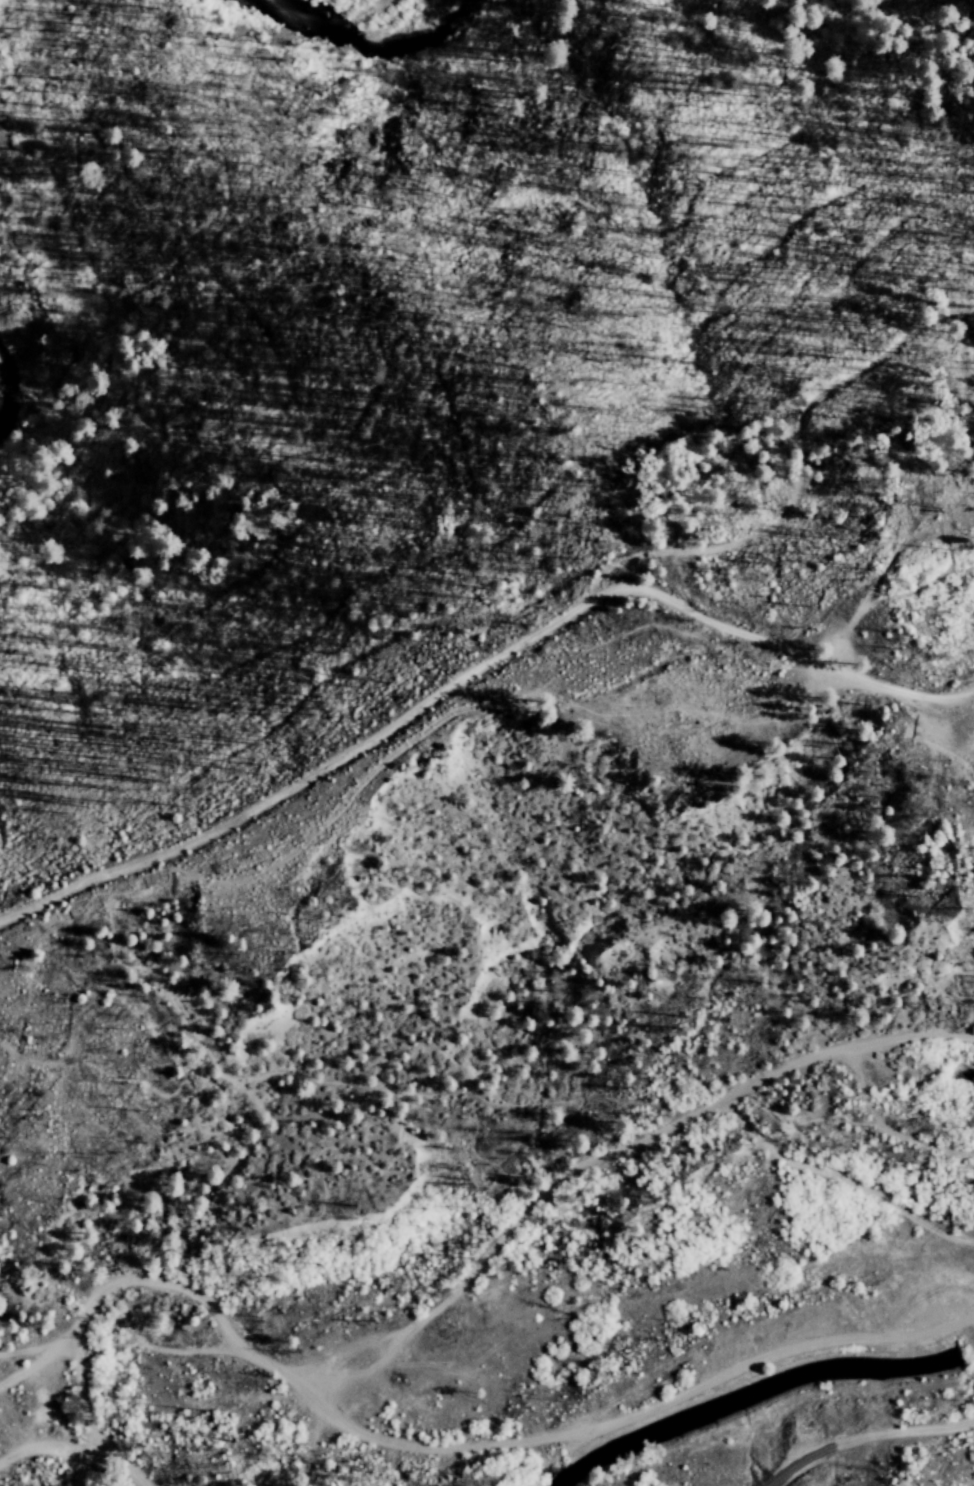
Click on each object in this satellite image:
road: (476, 667)
road: (867, 1435)
road: (37, 1447)
road: (433, 1447)
road: (114, 1454)
road: (78, 1471)

